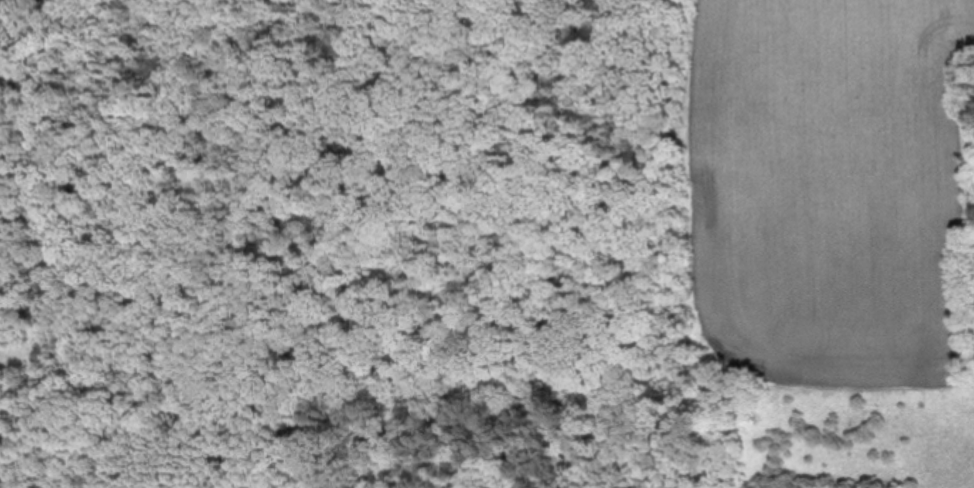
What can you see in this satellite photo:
park: (157, 197)

